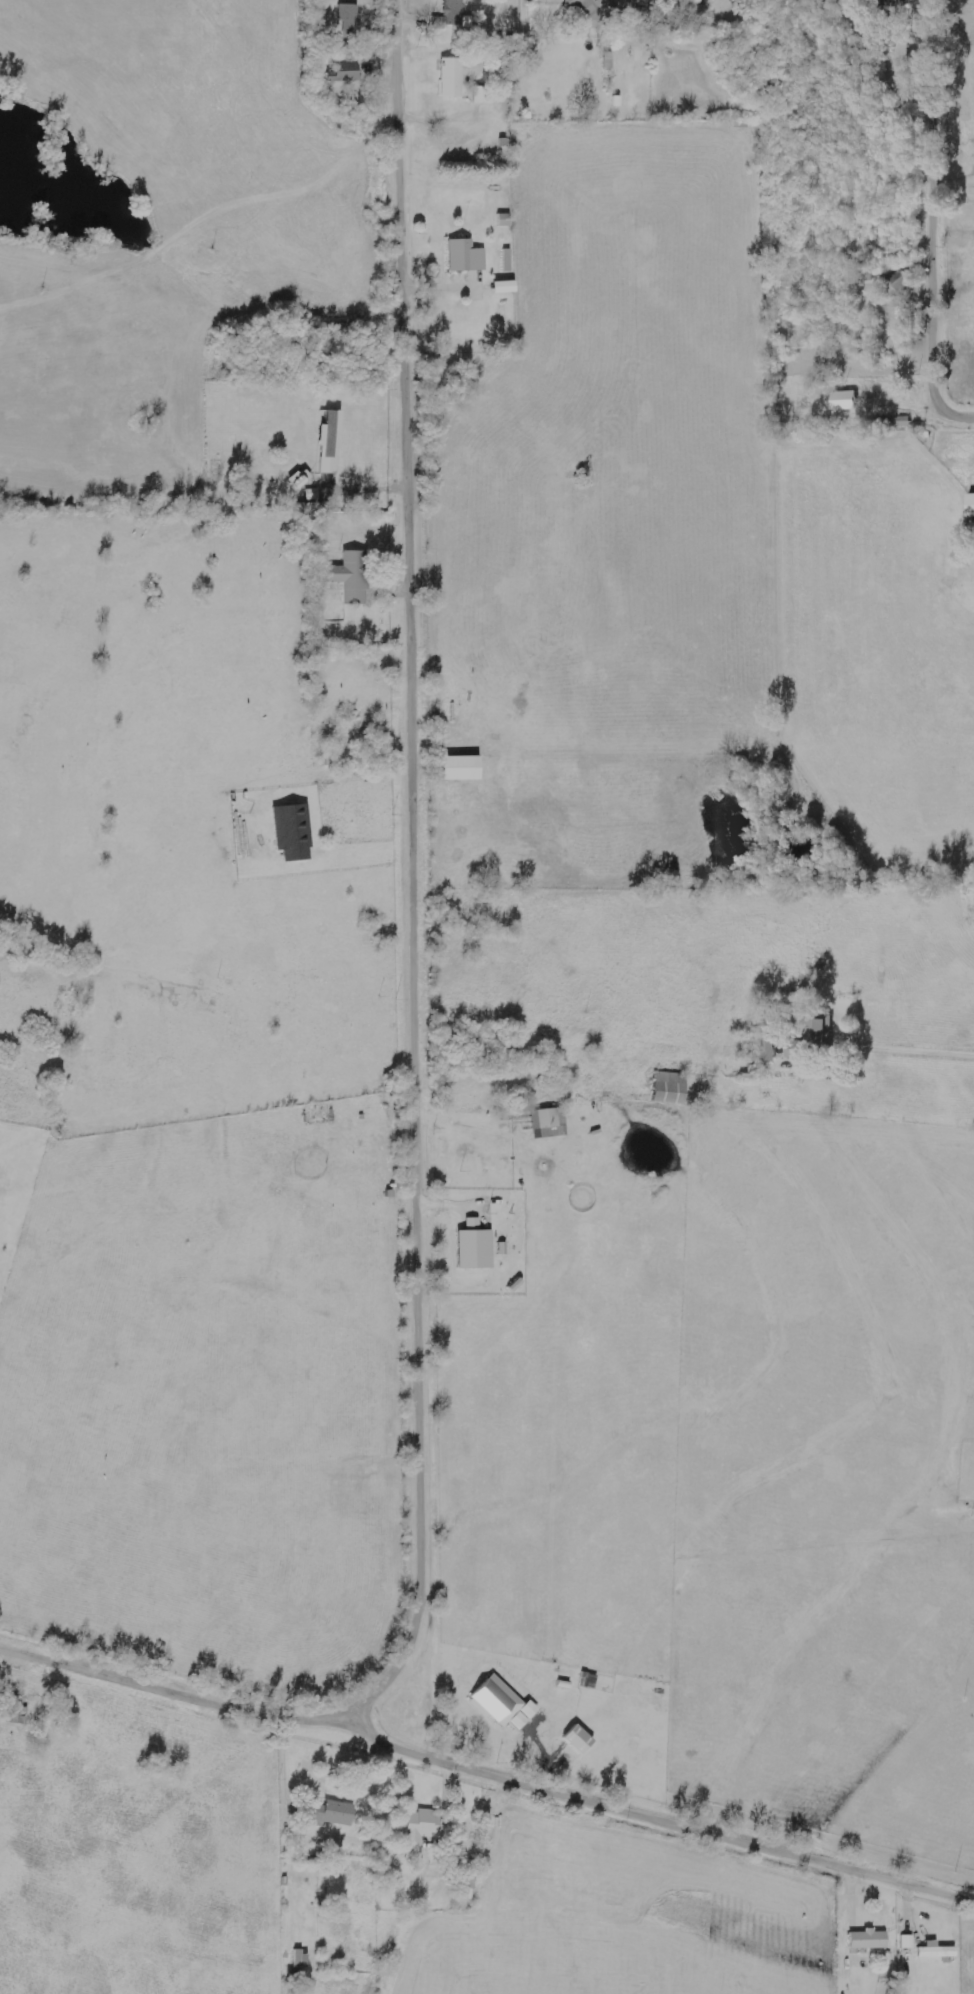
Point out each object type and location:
building: (640, 2)
building: (899, 3)
building: (678, 4)
building: (589, 8)
building: (452, 14)
building: (349, 20)
building: (345, 72)
building: (452, 77)
building: (482, 95)
road: (938, 220)
building: (467, 257)
building: (508, 261)
building: (897, 286)
building: (846, 402)
building: (901, 422)
building: (972, 505)
building: (352, 576)
building: (463, 768)
building: (294, 832)
road: (422, 877)
building: (824, 1033)
building: (769, 1049)
building: (795, 1049)
building: (671, 1088)
building: (549, 1118)
building: (476, 1249)
building: (504, 1704)
building: (580, 1739)
road: (486, 1777)
building: (332, 1813)
building: (422, 1827)
building: (467, 1880)
building: (869, 1939)
building: (909, 1942)
building: (938, 1951)

